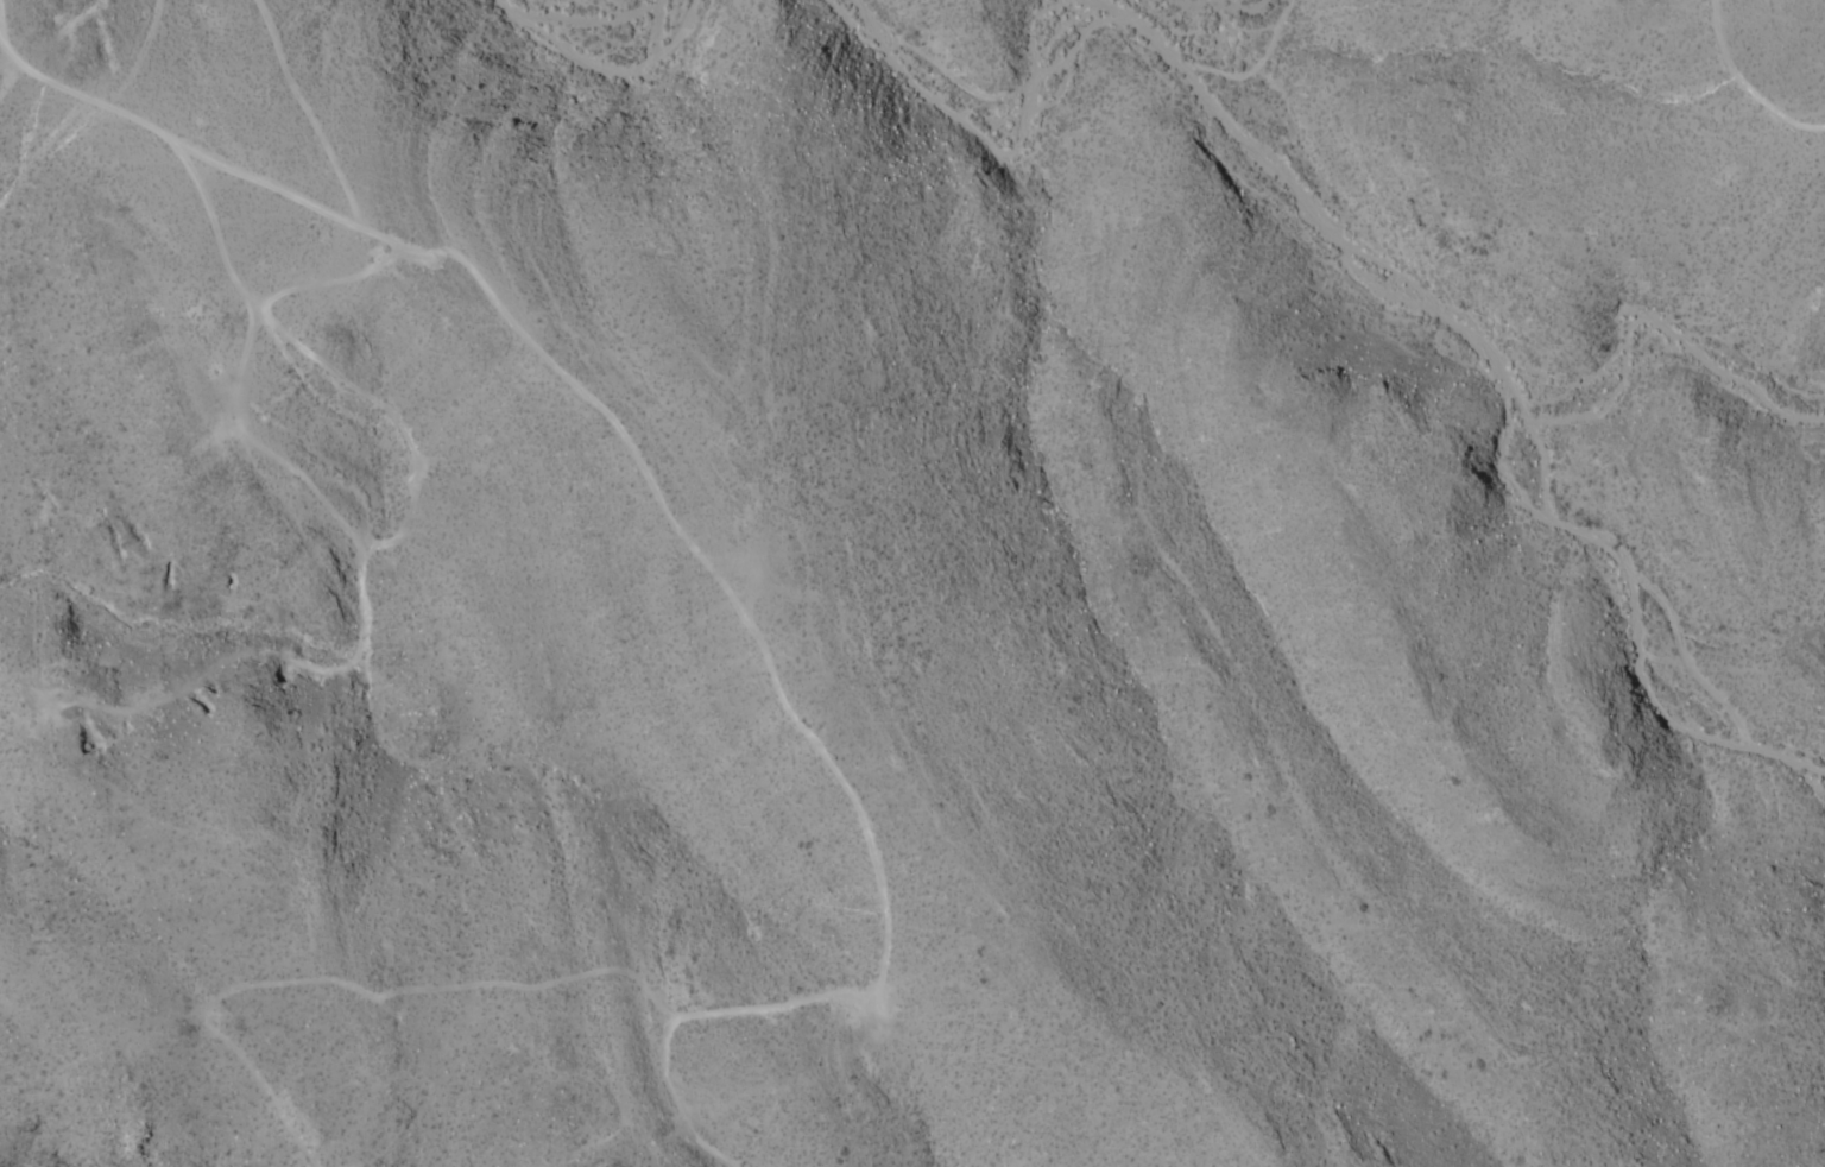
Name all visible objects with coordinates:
road: (1, 37)
road: (606, 67)
road: (307, 113)
road: (201, 157)
road: (1360, 272)
road: (236, 374)
road: (394, 535)
road: (812, 740)
road: (348, 988)

